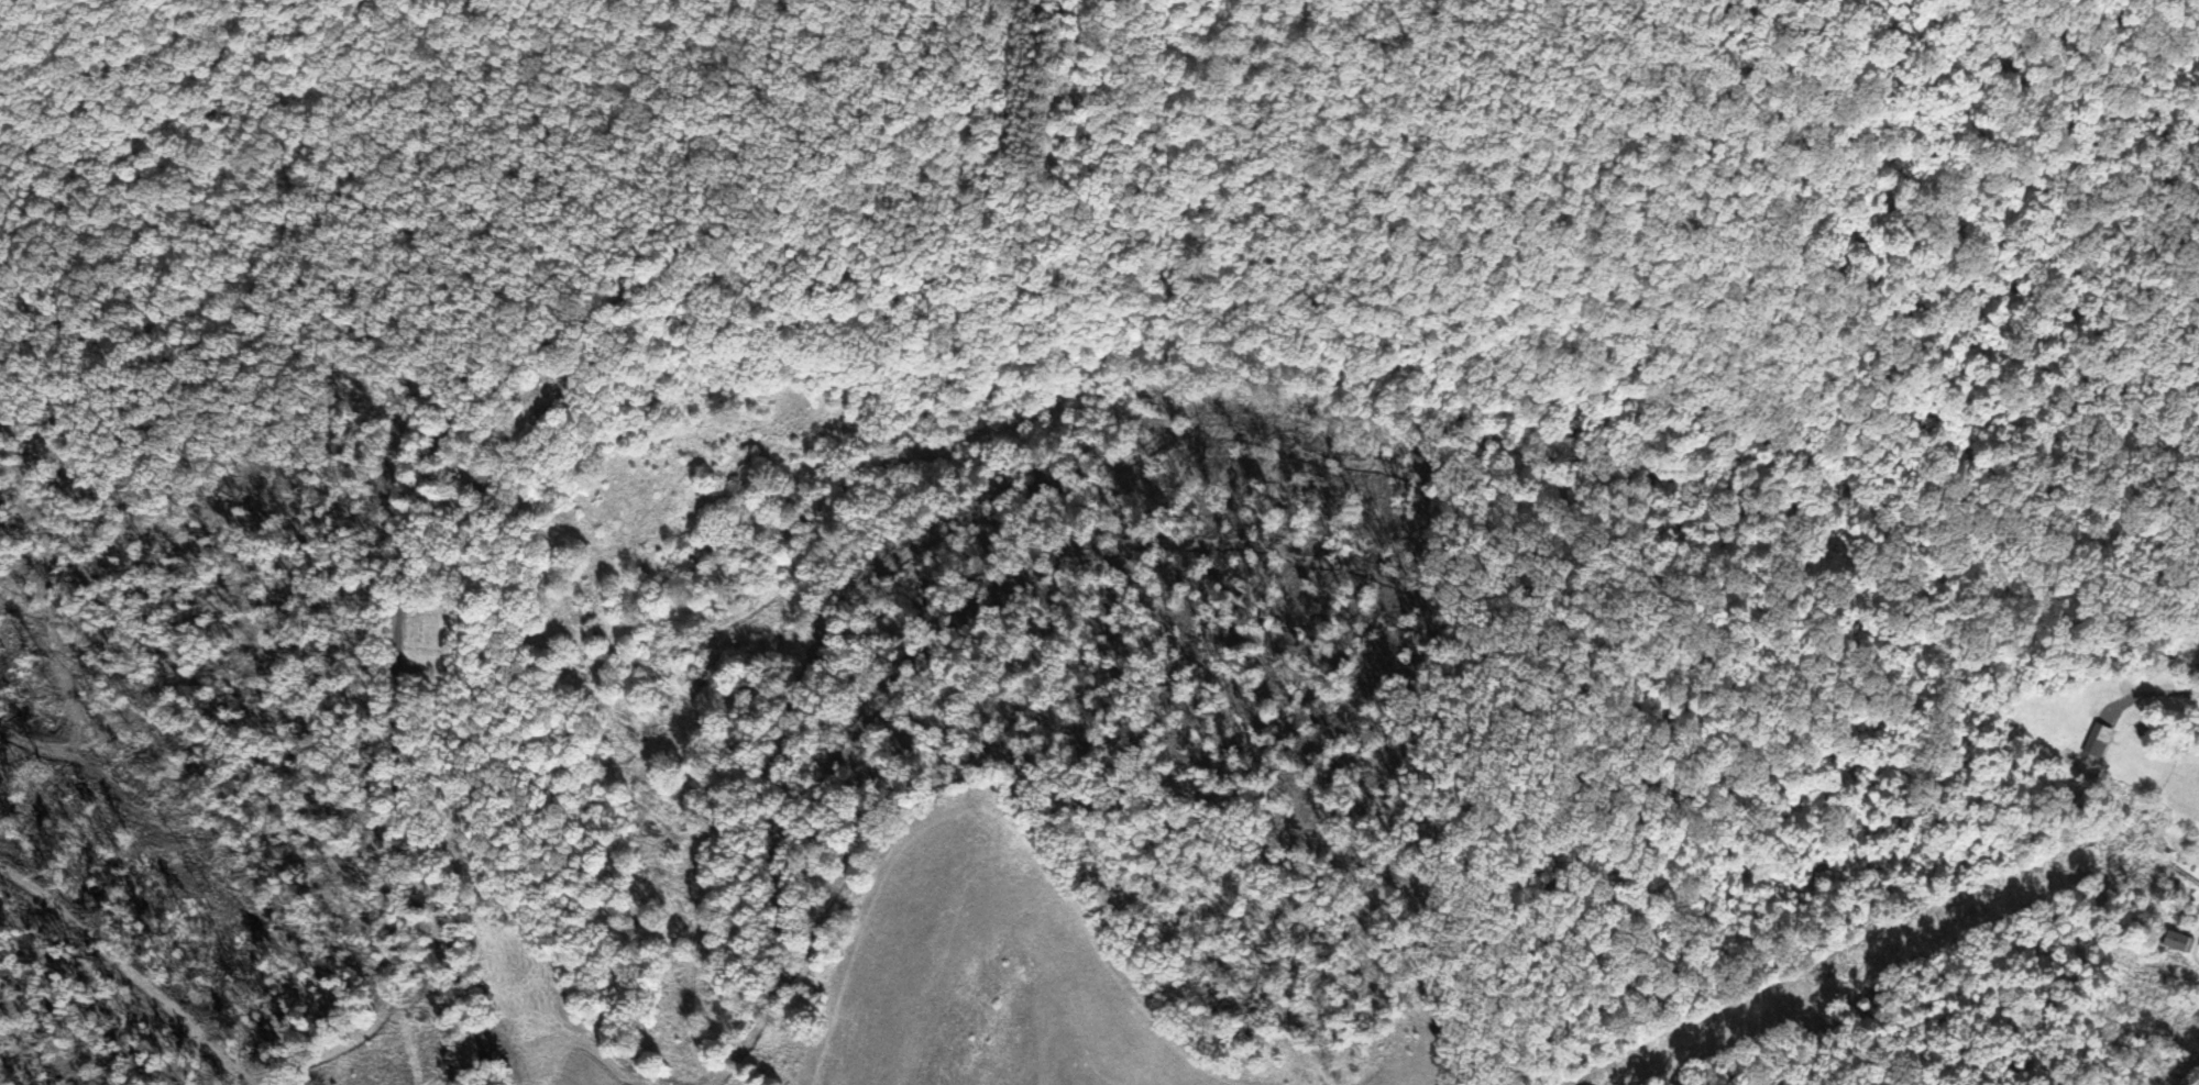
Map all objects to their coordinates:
road: (444, 433)
building: (2098, 741)
building: (2178, 940)

